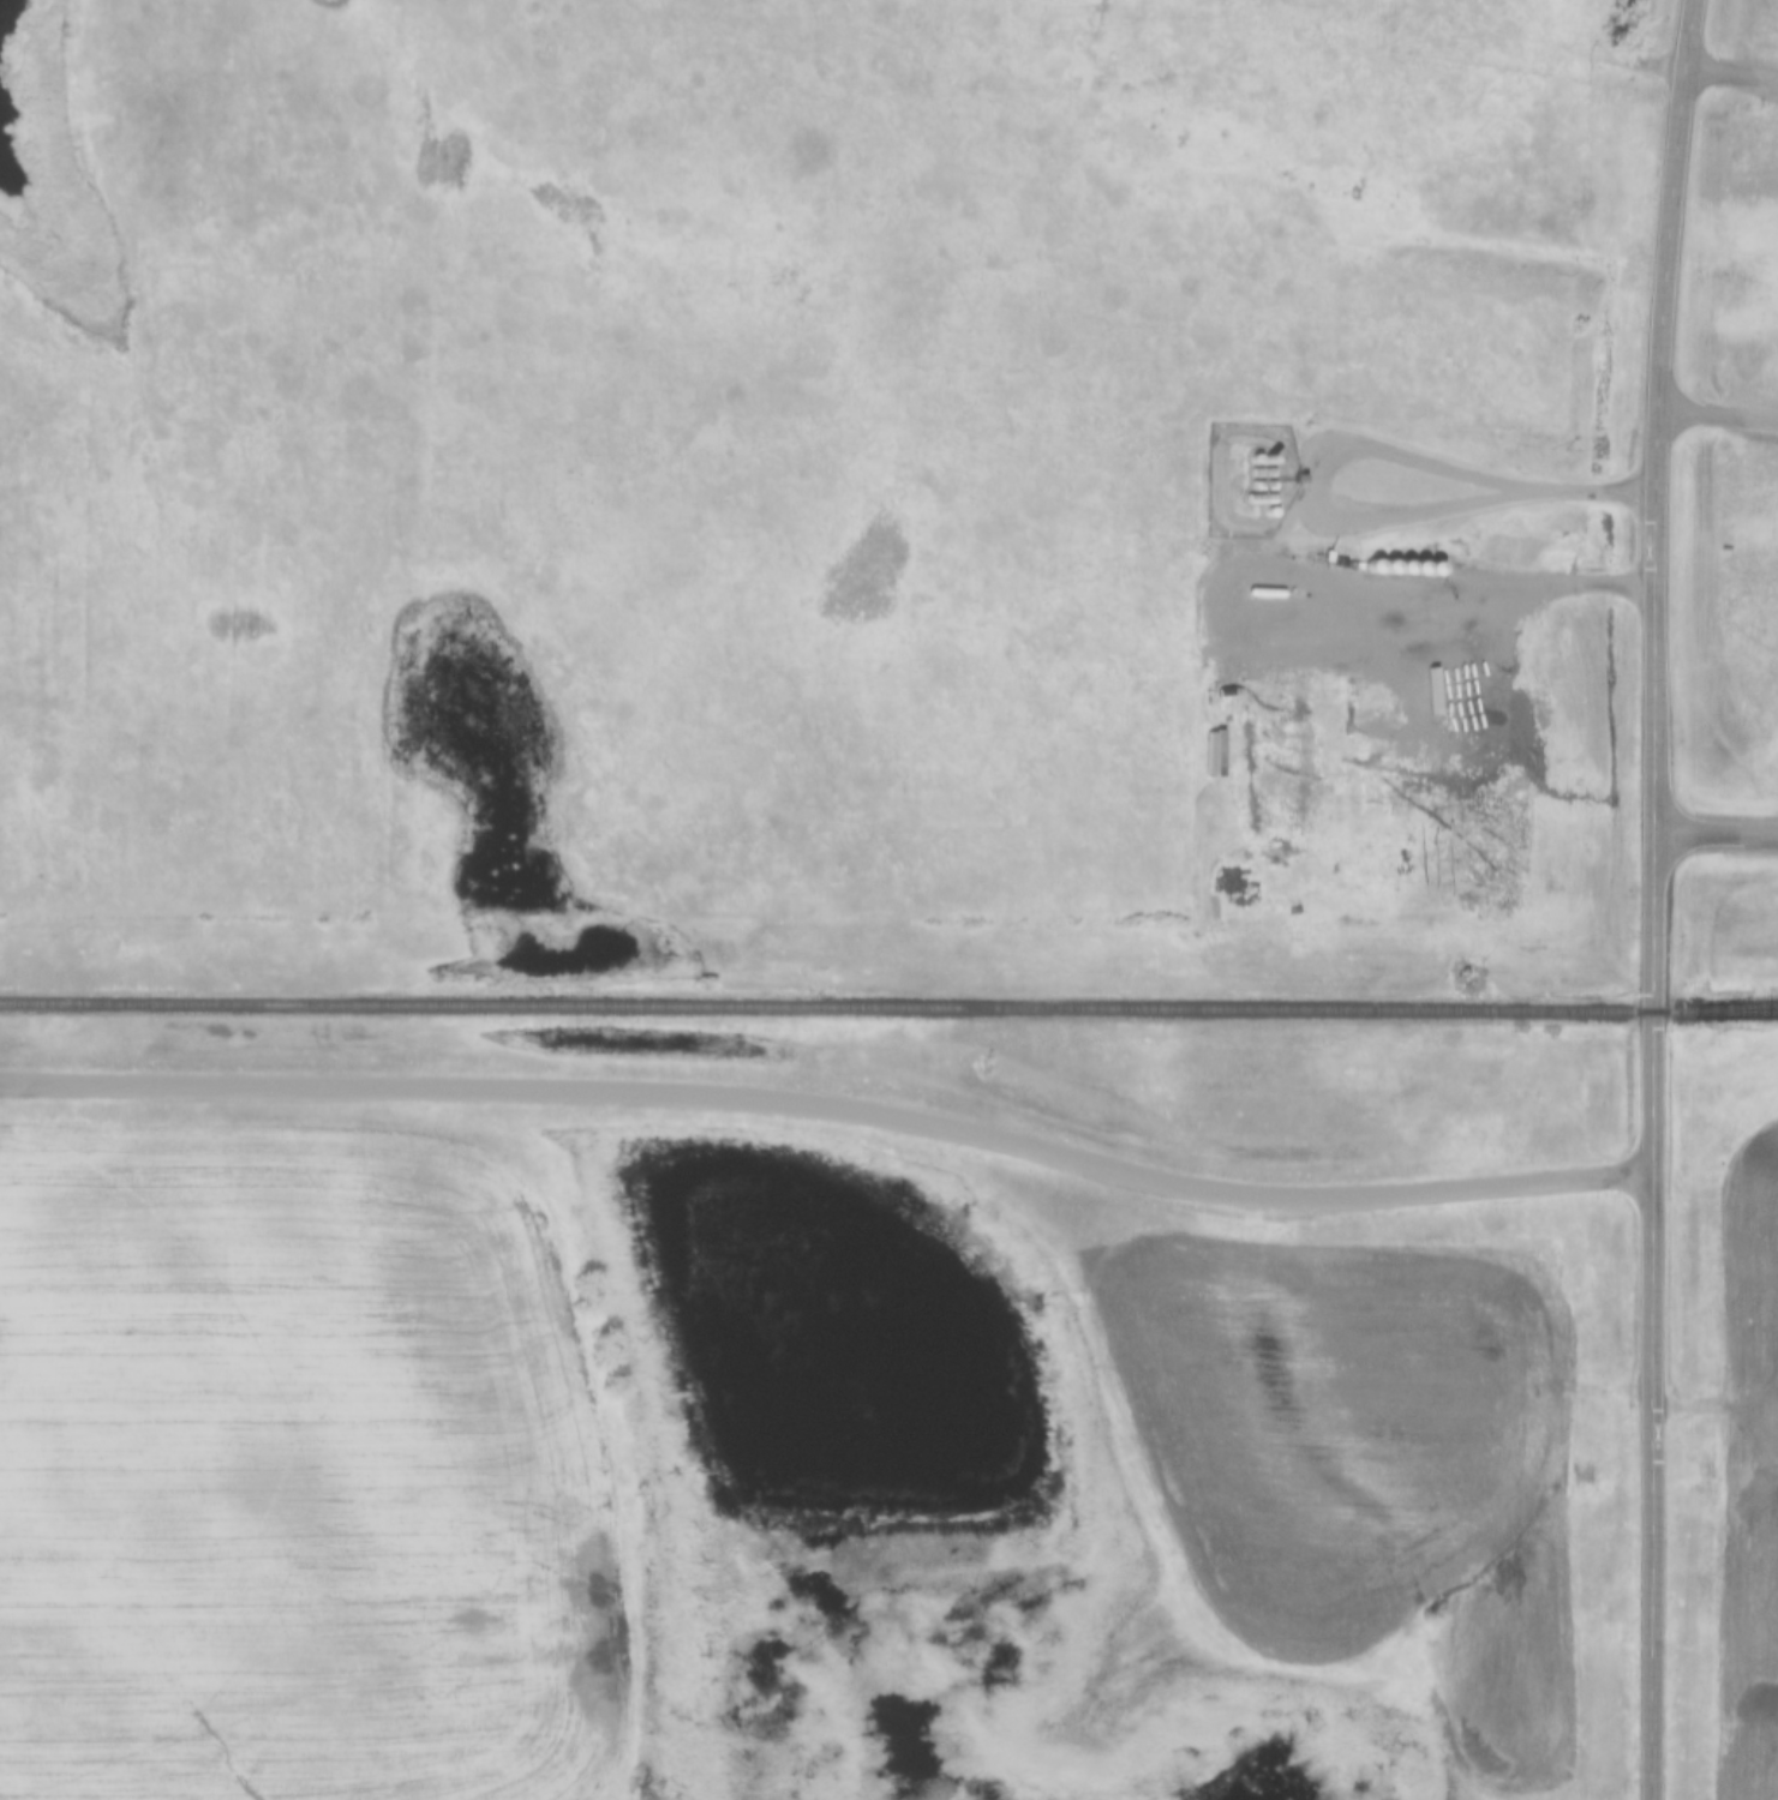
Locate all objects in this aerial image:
road: (1736, 76)
road: (1720, 420)
storage tank: (1262, 460)
storage tank: (1261, 473)
building: (1297, 479)
storage tank: (1262, 486)
storage tank: (1259, 499)
road: (1369, 514)
building: (1319, 560)
road: (1487, 583)
storage tank: (1265, 594)
road: (1718, 839)
road: (1656, 899)
railway: (888, 1007)
railway: (1753, 1012)
road: (833, 1103)

